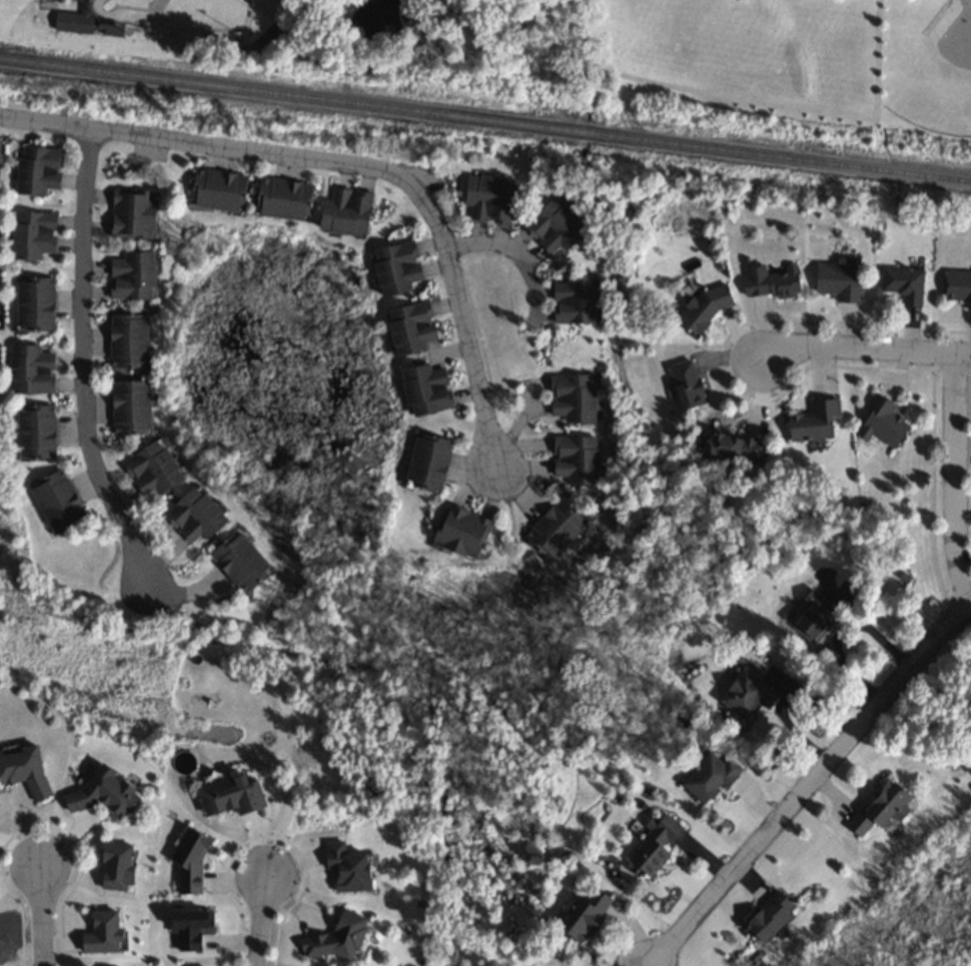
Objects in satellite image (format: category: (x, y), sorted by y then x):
park: (172, 13)
building: (81, 21)
park: (597, 52)
road: (353, 163)
building: (38, 169)
building: (215, 189)
building: (488, 197)
building: (280, 198)
building: (344, 211)
building: (130, 213)
building: (553, 227)
building: (32, 234)
road: (516, 254)
building: (395, 267)
building: (130, 275)
building: (769, 280)
building: (837, 280)
building: (902, 283)
building: (957, 287)
building: (573, 299)
building: (699, 302)
building: (33, 303)
building: (408, 327)
building: (125, 341)
road: (865, 347)
road: (83, 361)
building: (29, 369)
building: (684, 383)
building: (424, 388)
building: (570, 398)
building: (128, 407)
building: (812, 420)
building: (881, 420)
building: (34, 432)
building: (732, 447)
building: (574, 458)
building: (426, 462)
building: (150, 468)
road: (955, 477)
building: (54, 498)
building: (194, 514)
building: (555, 530)
building: (460, 531)
building: (238, 560)
building: (812, 616)
building: (746, 693)
building: (22, 768)
building: (709, 775)
road: (808, 785)
building: (100, 791)
building: (228, 794)
building: (877, 806)
building: (651, 844)
building: (188, 862)
building: (345, 867)
building: (764, 912)
building: (580, 914)
road: (42, 916)
road: (261, 922)
building: (331, 938)

